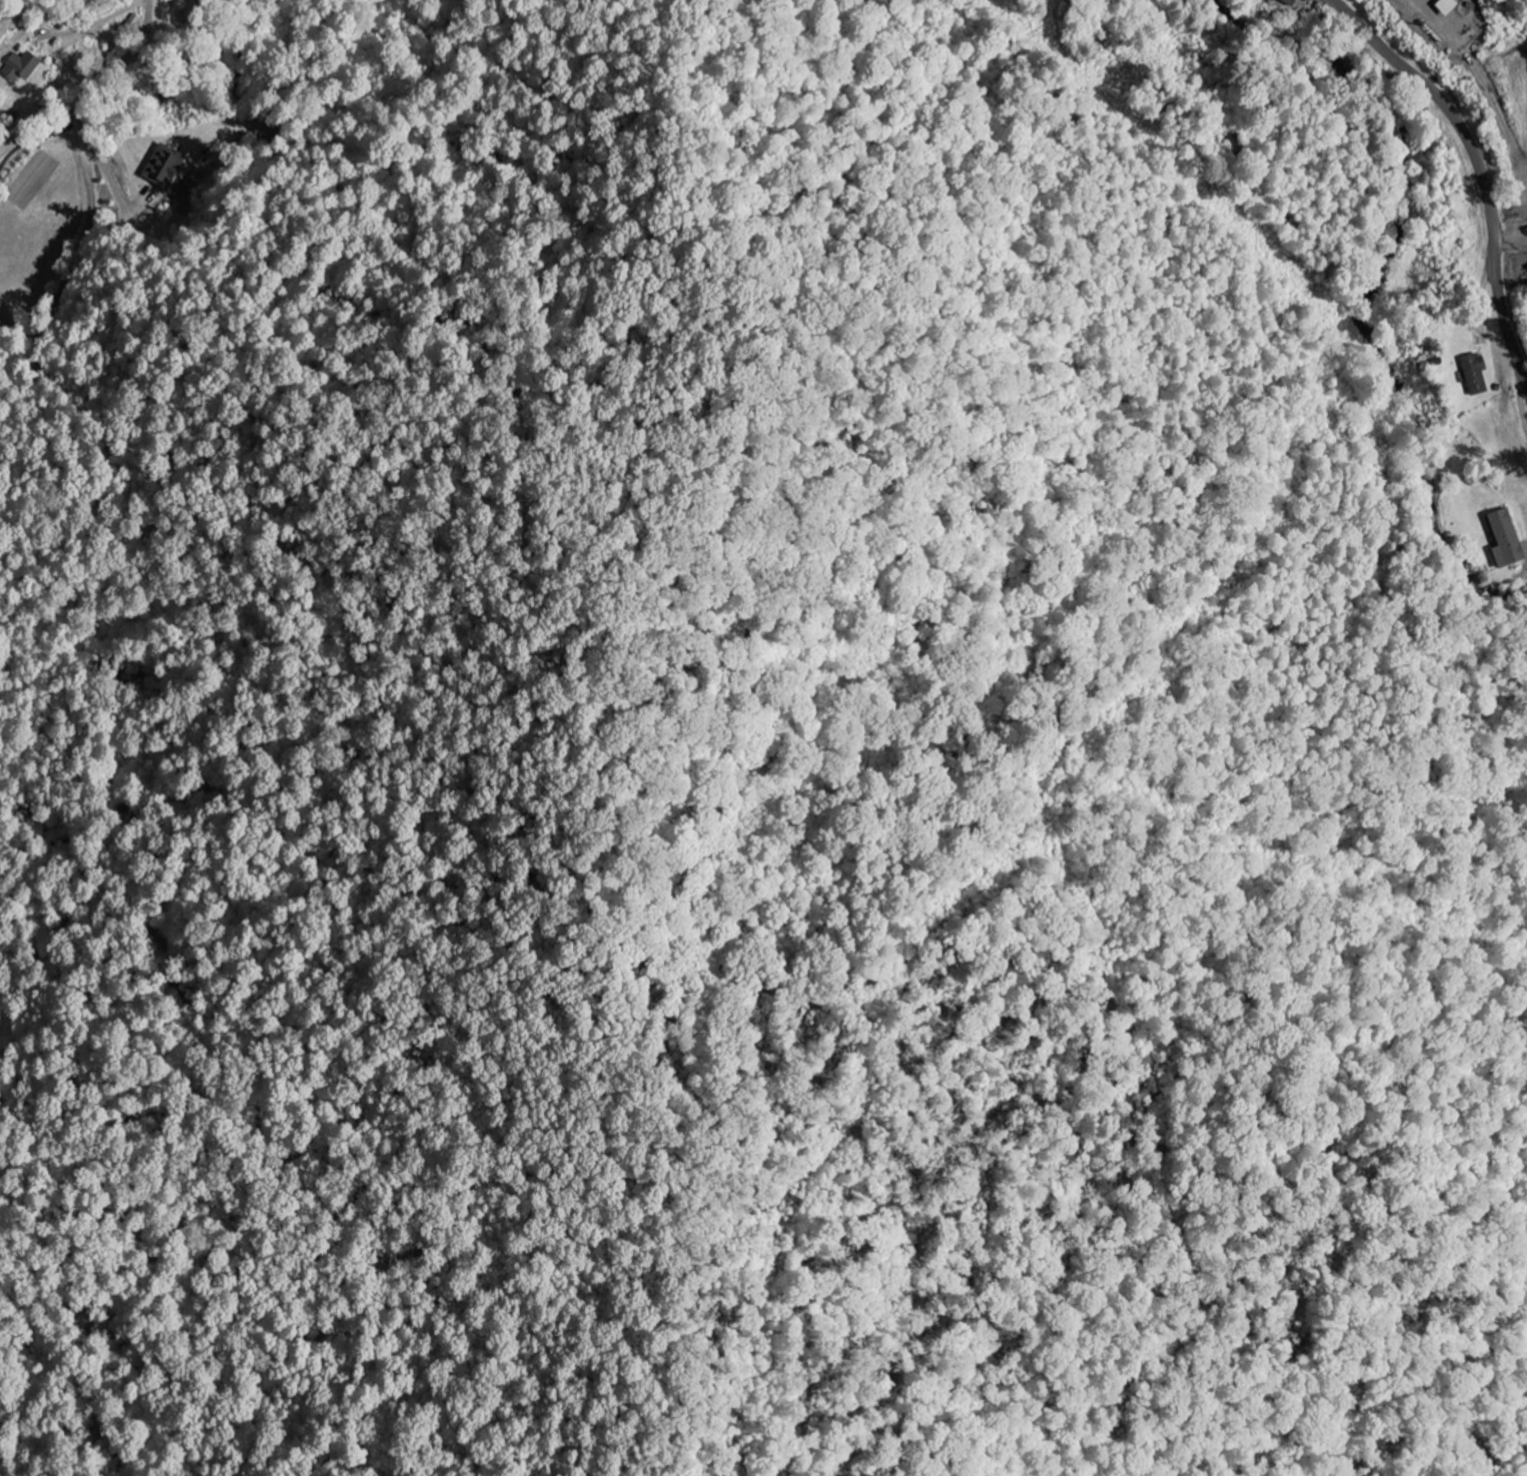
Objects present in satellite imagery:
road: (21, 8)
building: (22, 67)
road: (1478, 162)
building: (165, 167)
road: (89, 195)
building: (1477, 374)
building: (1507, 540)

